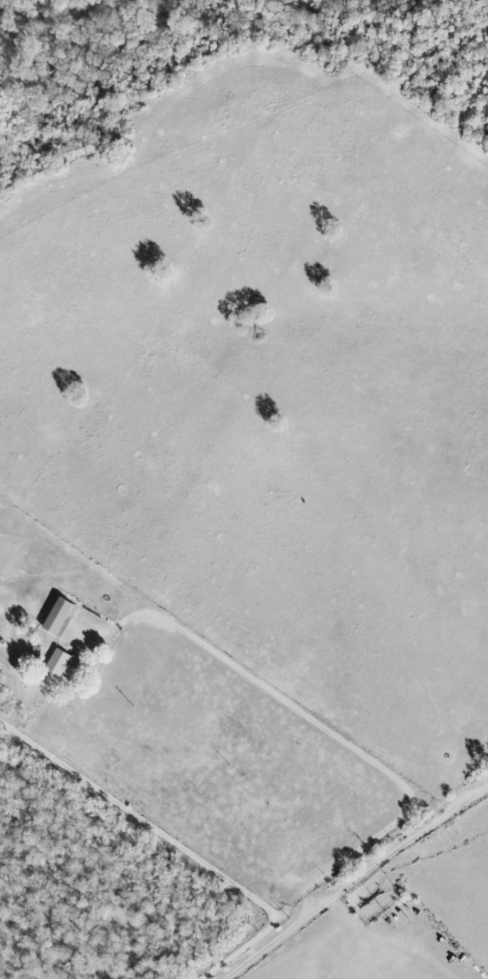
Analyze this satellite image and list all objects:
building: (59, 616)
building: (59, 662)
road: (256, 680)
road: (139, 820)
road: (305, 884)

